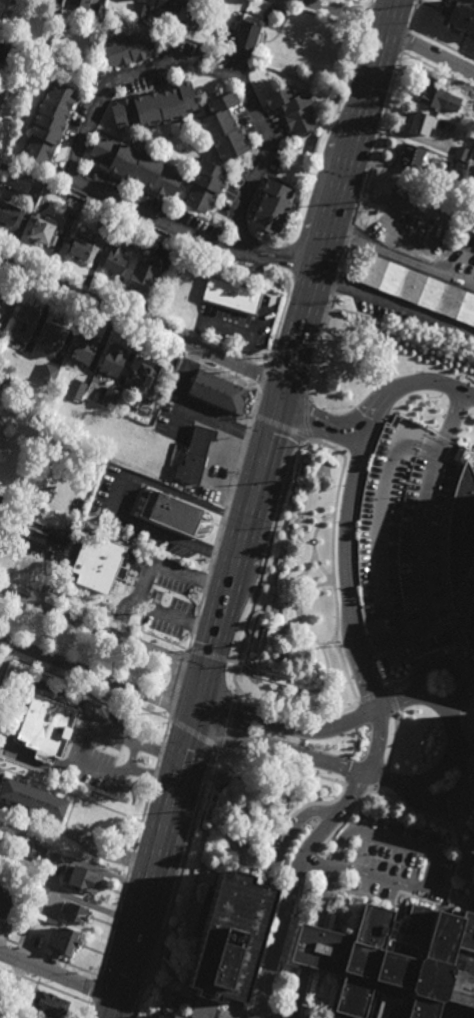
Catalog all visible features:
building: (136, 0)
building: (15, 1)
road: (467, 2)
building: (81, 3)
road: (370, 3)
building: (171, 4)
power tower: (416, 9)
building: (52, 10)
building: (99, 10)
building: (141, 10)
road: (344, 13)
road: (390, 14)
road: (413, 15)
building: (458, 17)
road: (366, 19)
building: (183, 26)
building: (243, 31)
road: (405, 41)
road: (442, 44)
building: (129, 48)
road: (430, 50)
building: (3, 53)
building: (245, 55)
building: (82, 58)
road: (438, 72)
building: (1, 95)
building: (438, 96)
building: (156, 106)
building: (293, 109)
road: (383, 120)
building: (470, 121)
building: (50, 122)
building: (420, 122)
building: (223, 128)
building: (462, 131)
power tower: (378, 134)
road: (319, 138)
building: (461, 154)
building: (411, 158)
building: (136, 165)
building: (206, 186)
road: (361, 193)
road: (126, 196)
power tower: (358, 201)
building: (72, 207)
building: (271, 207)
building: (9, 209)
road: (407, 209)
road: (357, 212)
building: (107, 226)
building: (43, 231)
road: (350, 236)
building: (137, 243)
building: (152, 245)
building: (83, 248)
road: (400, 255)
road: (275, 256)
road: (281, 257)
building: (116, 259)
road: (341, 263)
building: (145, 277)
road: (334, 288)
building: (419, 290)
building: (233, 297)
road: (393, 306)
building: (3, 308)
road: (281, 314)
building: (23, 325)
road: (142, 325)
building: (55, 335)
building: (84, 349)
road: (316, 349)
power tower: (315, 351)
building: (113, 362)
road: (286, 373)
building: (49, 375)
road: (263, 375)
building: (148, 377)
building: (84, 383)
road: (405, 385)
building: (76, 389)
building: (216, 393)
traffic signals: (282, 394)
building: (111, 396)
road: (254, 406)
building: (40, 414)
road: (318, 420)
road: (306, 421)
road: (282, 427)
road: (247, 434)
building: (194, 453)
road: (235, 476)
power tower: (291, 477)
road: (115, 495)
building: (1, 508)
road: (248, 512)
building: (173, 513)
road: (225, 514)
road: (220, 532)
building: (38, 535)
building: (422, 548)
road: (214, 553)
building: (100, 562)
road: (264, 563)
road: (211, 567)
road: (206, 583)
road: (143, 585)
road: (201, 605)
road: (94, 615)
road: (195, 625)
road: (103, 634)
power tower: (246, 642)
road: (190, 643)
road: (207, 656)
road: (232, 663)
road: (446, 663)
building: (464, 670)
road: (96, 676)
traffic signals: (201, 683)
road: (179, 686)
road: (85, 687)
road: (374, 694)
road: (238, 697)
road: (393, 700)
road: (298, 713)
traffic signals: (192, 715)
road: (231, 726)
building: (46, 727)
road: (166, 732)
road: (197, 736)
road: (455, 737)
road: (395, 740)
road: (376, 741)
road: (157, 764)
road: (282, 767)
road: (382, 779)
road: (357, 786)
road: (460, 793)
building: (473, 797)
building: (34, 798)
power tower: (199, 808)
road: (346, 818)
road: (289, 834)
road: (75, 836)
road: (341, 848)
building: (38, 852)
road: (327, 858)
road: (320, 861)
road: (433, 871)
road: (338, 872)
building: (83, 879)
road: (125, 881)
road: (177, 882)
building: (40, 890)
building: (5, 906)
building: (76, 914)
building: (233, 939)
building: (64, 941)
road: (319, 948)
road: (49, 959)
building: (396, 964)
power tower: (155, 968)
road: (58, 974)
road: (168, 975)
road: (158, 984)
road: (259, 984)
road: (46, 986)
road: (96, 992)
road: (180, 1004)
building: (51, 1005)
road: (113, 1008)
building: (205, 1009)
road: (163, 1010)
road: (237, 1010)
road: (91, 1011)
road: (258, 1011)
road: (222, 1015)
building: (180, 1016)

